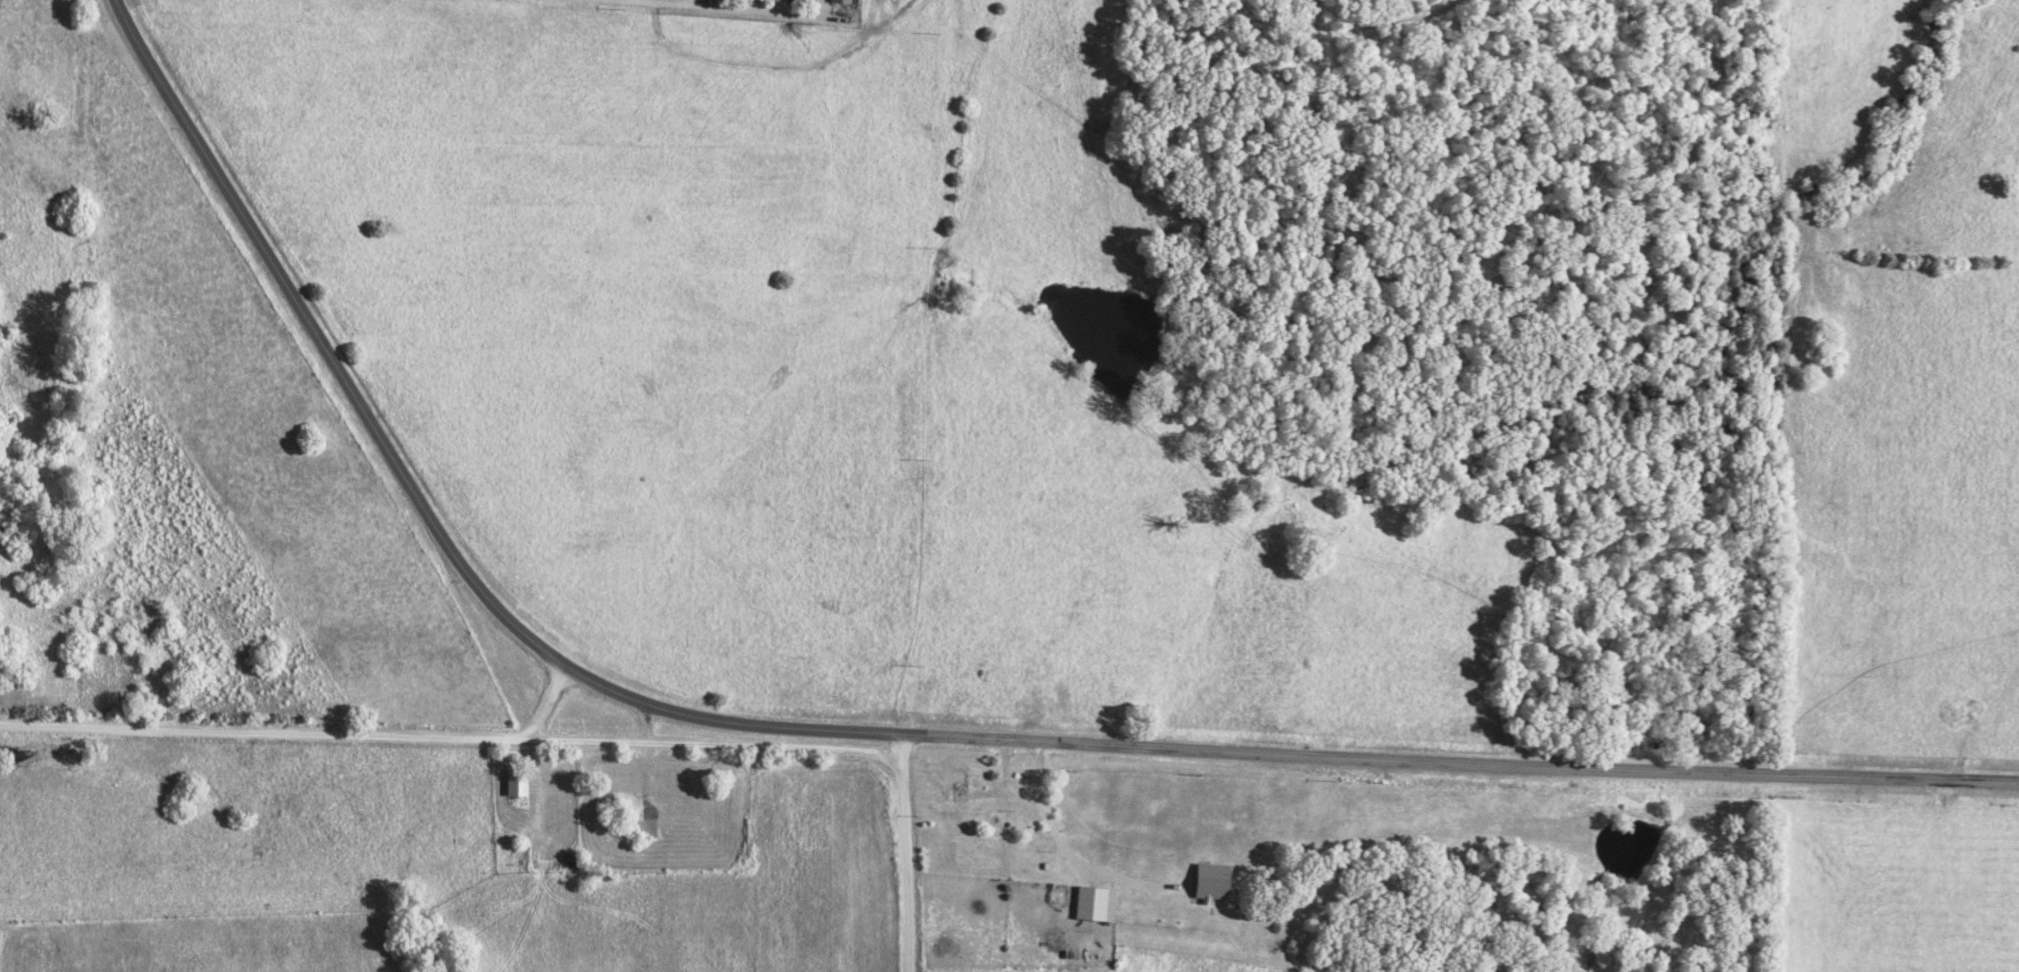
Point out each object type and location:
building: (840, 1)
road: (649, 3)
road: (646, 722)
road: (1977, 725)
road: (305, 734)
road: (882, 737)
road: (715, 743)
building: (515, 781)
building: (950, 782)
road: (1019, 794)
building: (645, 828)
road: (904, 855)
road: (1087, 865)
building: (1095, 903)

